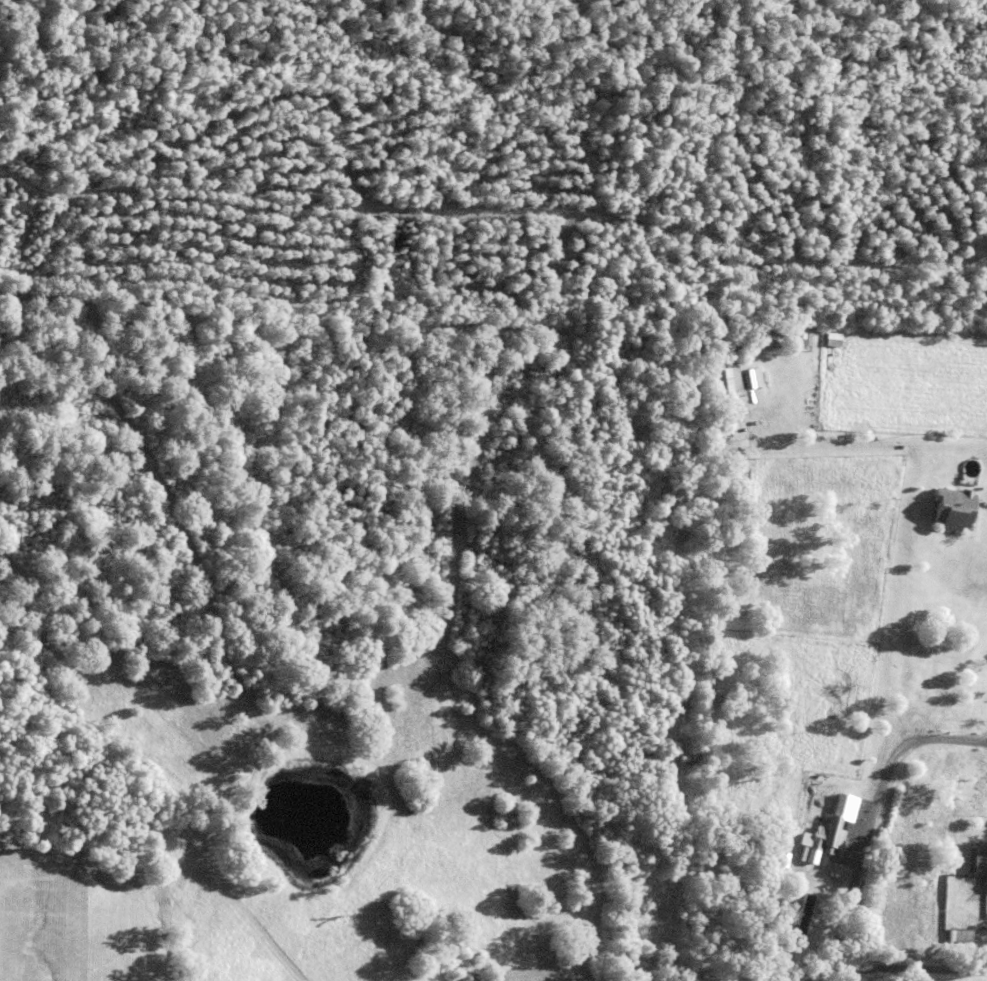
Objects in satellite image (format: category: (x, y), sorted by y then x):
building: (804, 338)
building: (727, 377)
building: (750, 377)
building: (954, 504)
building: (963, 684)
building: (839, 806)
building: (827, 830)
building: (788, 854)
building: (977, 858)
building: (738, 866)
building: (802, 911)
building: (774, 921)
building: (960, 938)
road: (818, 976)

